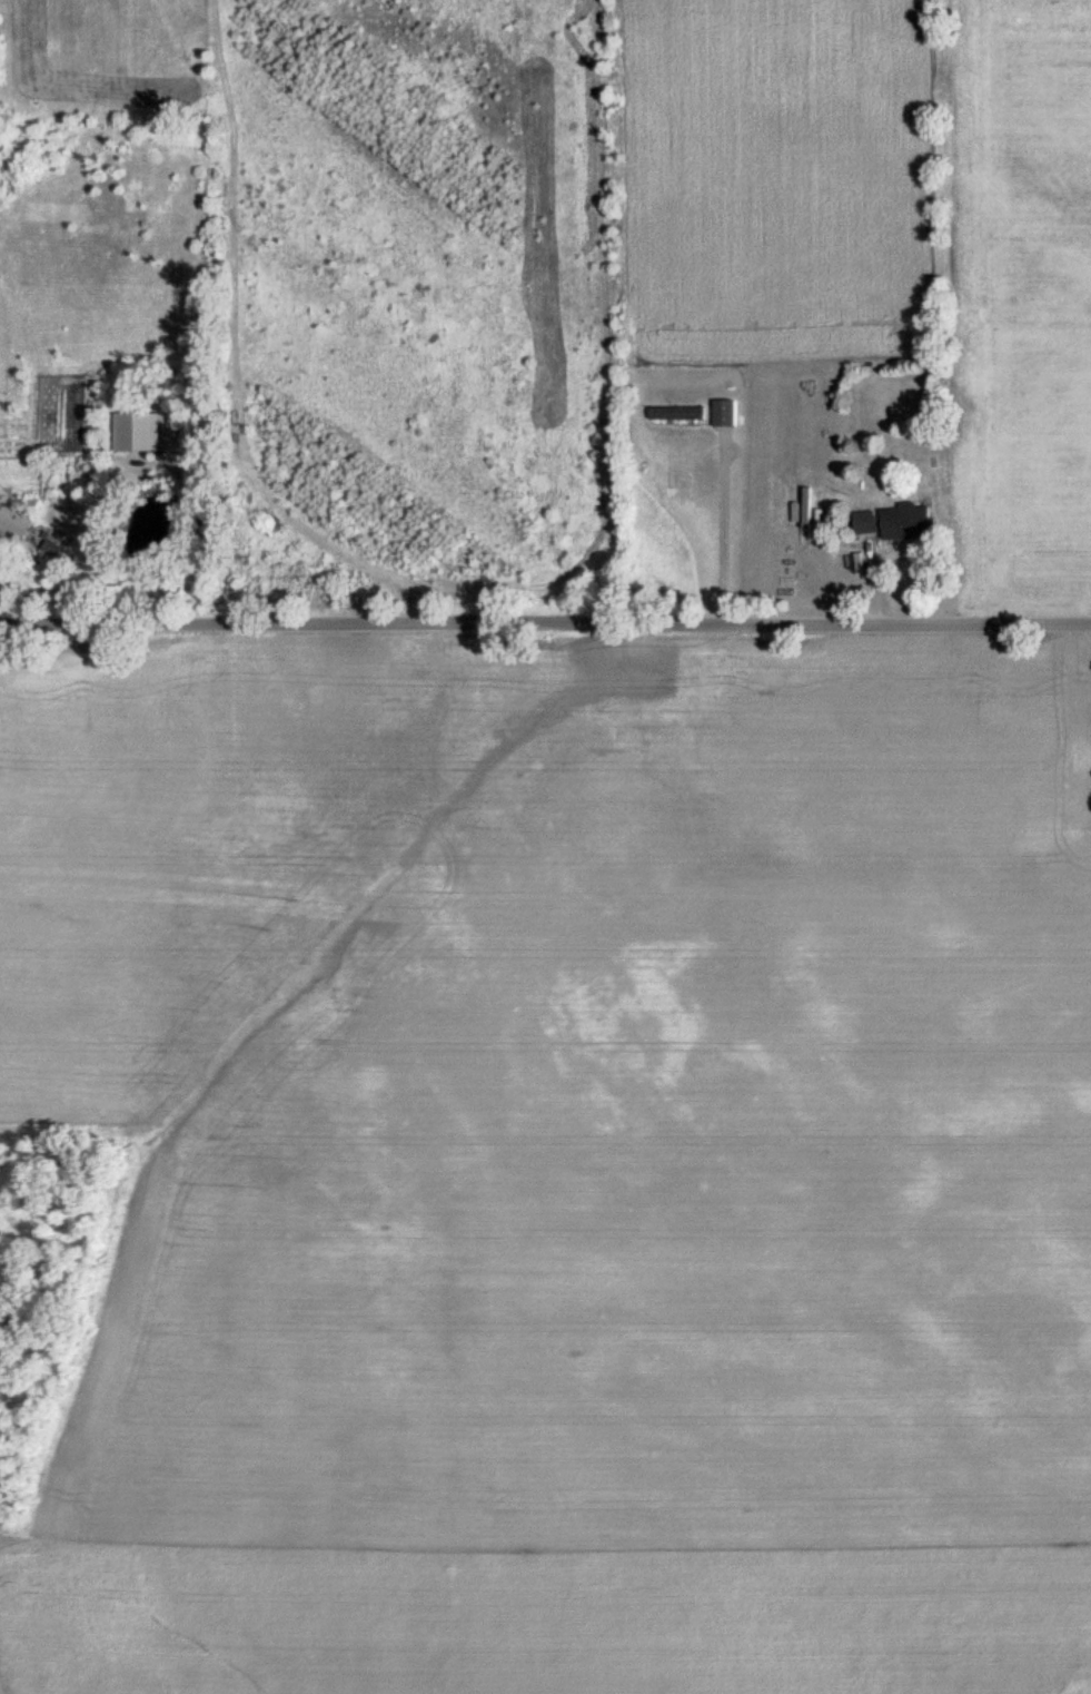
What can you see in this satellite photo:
building: (721, 412)
building: (674, 413)
building: (128, 431)
building: (902, 521)
building: (862, 522)
building: (11, 523)
road: (722, 532)
road: (545, 623)

